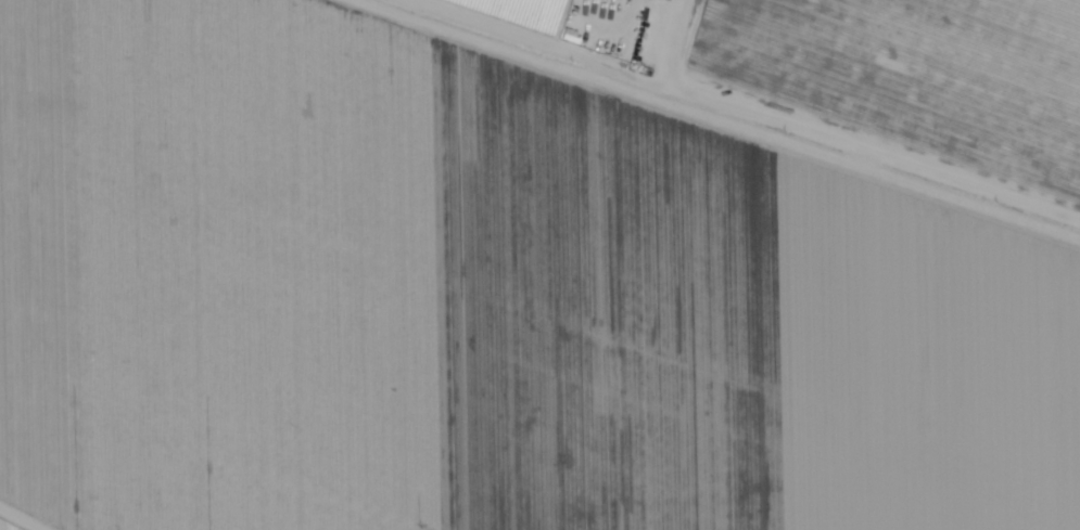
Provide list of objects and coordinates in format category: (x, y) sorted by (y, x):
crop: (588, 23)
crop: (910, 78)
road: (728, 124)
crop: (602, 208)
crop: (443, 359)
crop: (173, 451)
crop: (10, 525)

